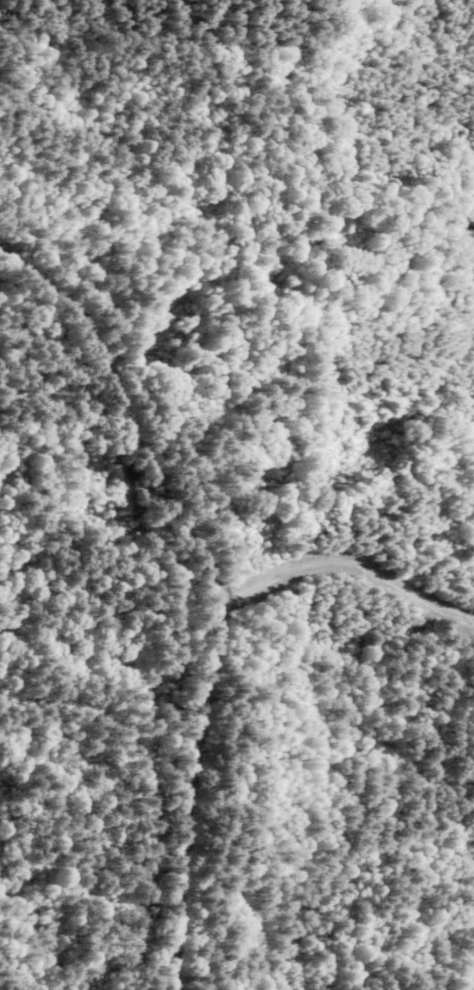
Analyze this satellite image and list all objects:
road: (179, 605)

